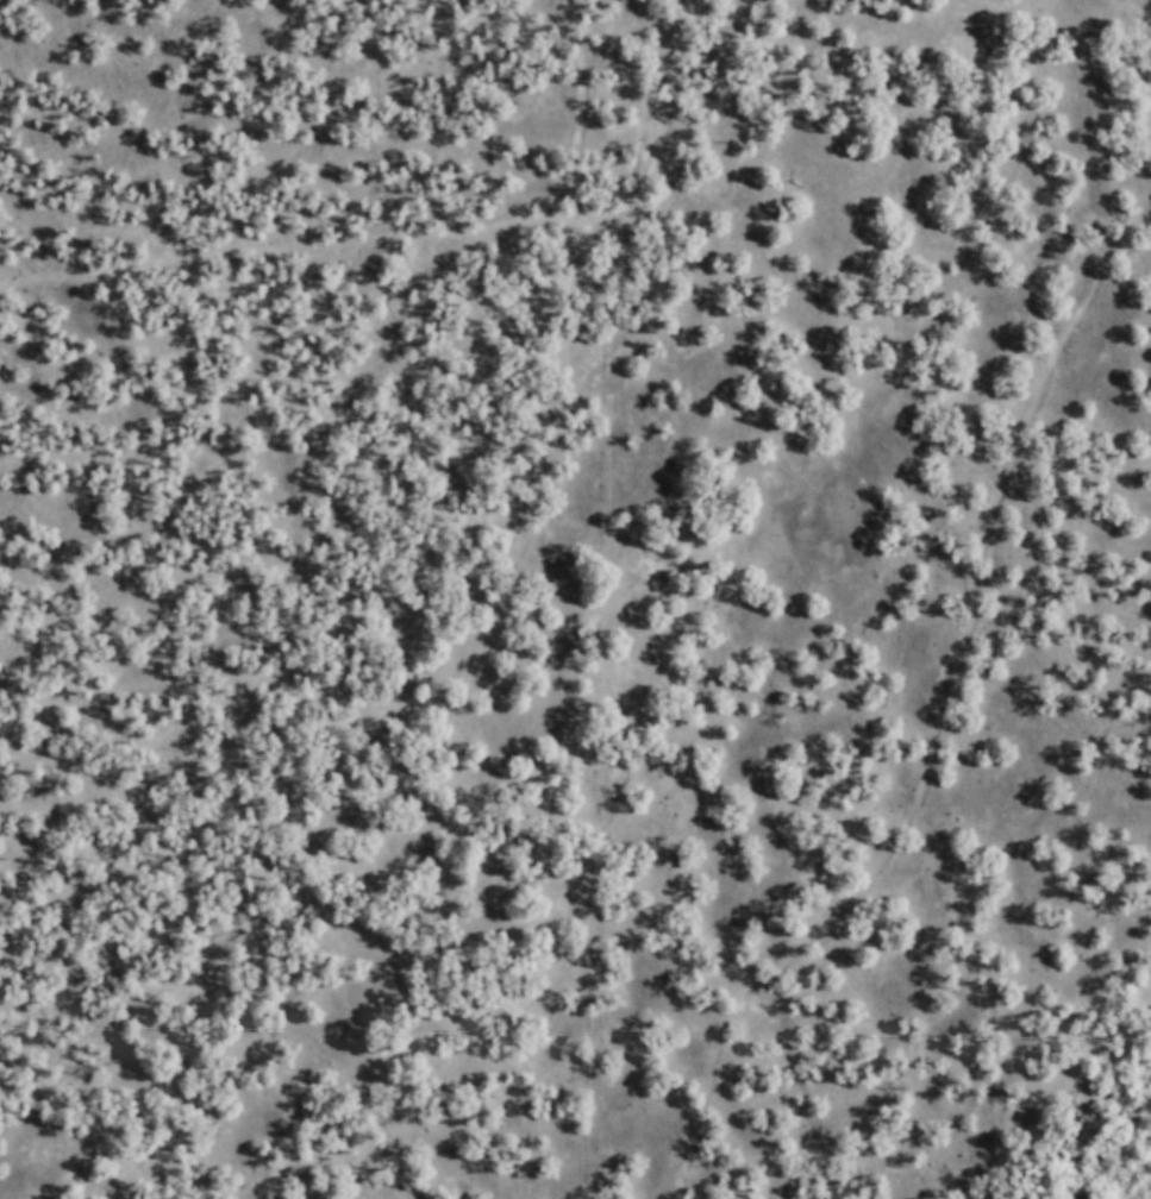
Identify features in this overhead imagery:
road: (928, 692)

